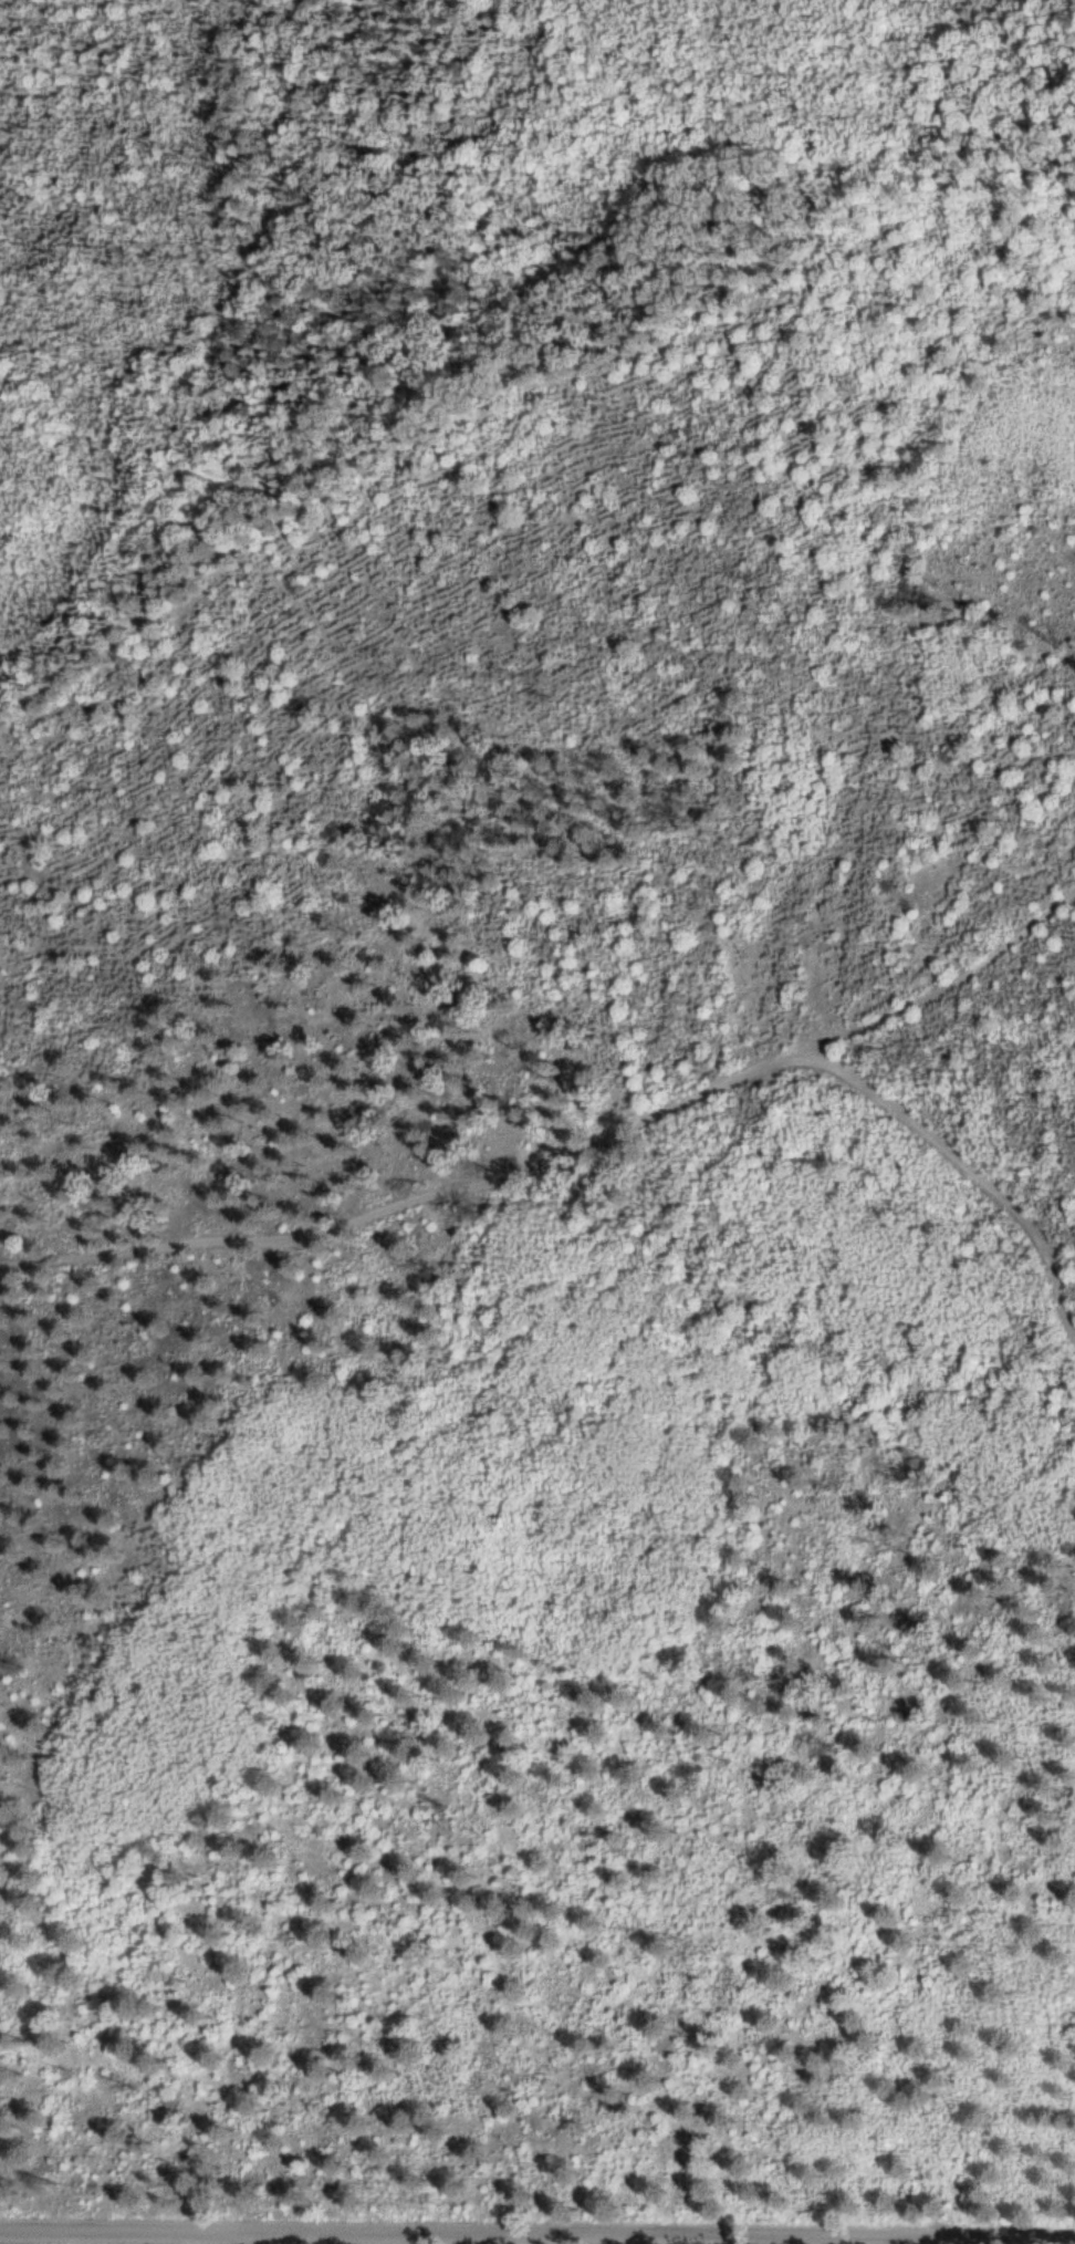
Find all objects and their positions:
road: (616, 1100)
road: (537, 2231)

